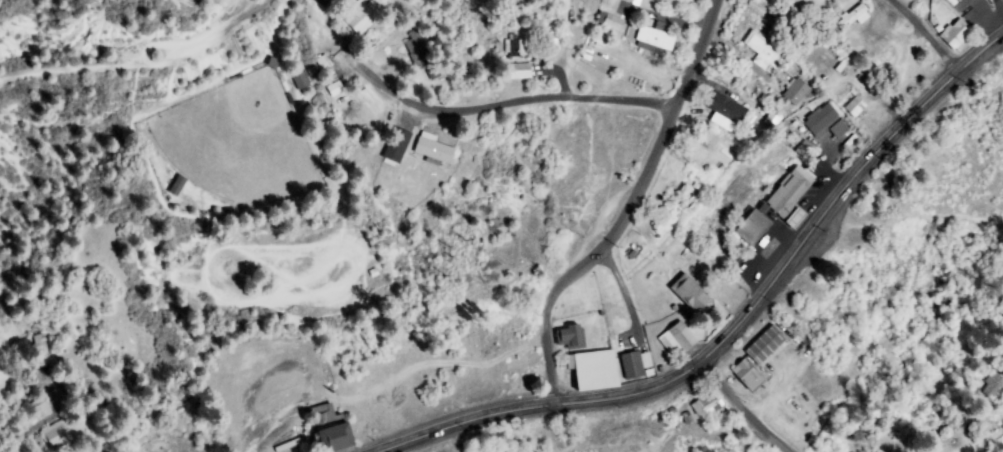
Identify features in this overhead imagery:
building: (633, 2)
building: (364, 16)
building: (853, 17)
building: (611, 22)
road: (923, 35)
building: (956, 36)
building: (654, 39)
building: (518, 48)
building: (417, 50)
building: (763, 51)
building: (324, 63)
road: (143, 64)
building: (521, 71)
building: (301, 81)
building: (335, 89)
building: (796, 92)
road: (535, 100)
building: (856, 107)
building: (727, 108)
building: (772, 119)
building: (876, 121)
building: (826, 122)
building: (397, 147)
building: (434, 150)
building: (806, 150)
park: (480, 163)
building: (178, 186)
building: (791, 191)
road: (630, 210)
building: (796, 219)
building: (665, 222)
building: (753, 228)
building: (692, 296)
road: (737, 322)
building: (571, 337)
building: (682, 338)
building: (766, 346)
building: (632, 365)
building: (592, 372)
building: (748, 376)
building: (994, 385)
building: (706, 406)
road: (749, 408)
building: (41, 410)
building: (332, 432)
building: (57, 437)

